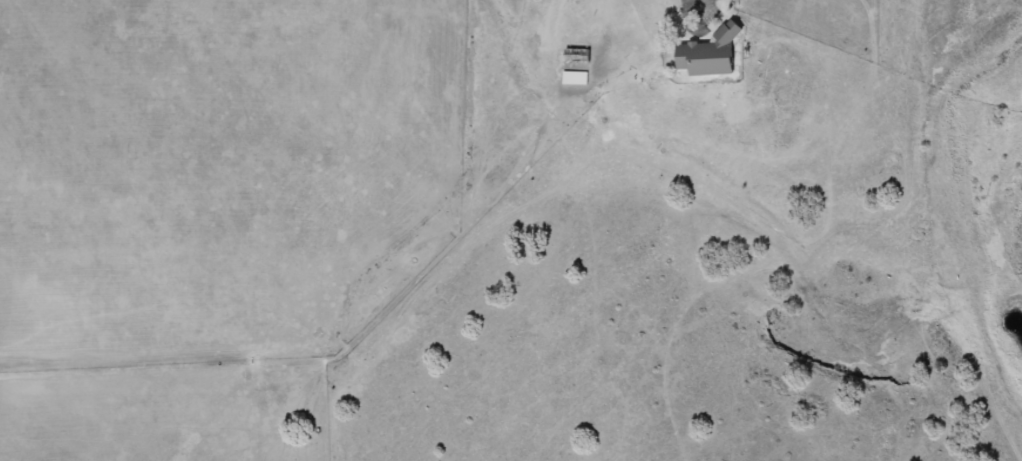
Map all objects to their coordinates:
road: (686, 4)

